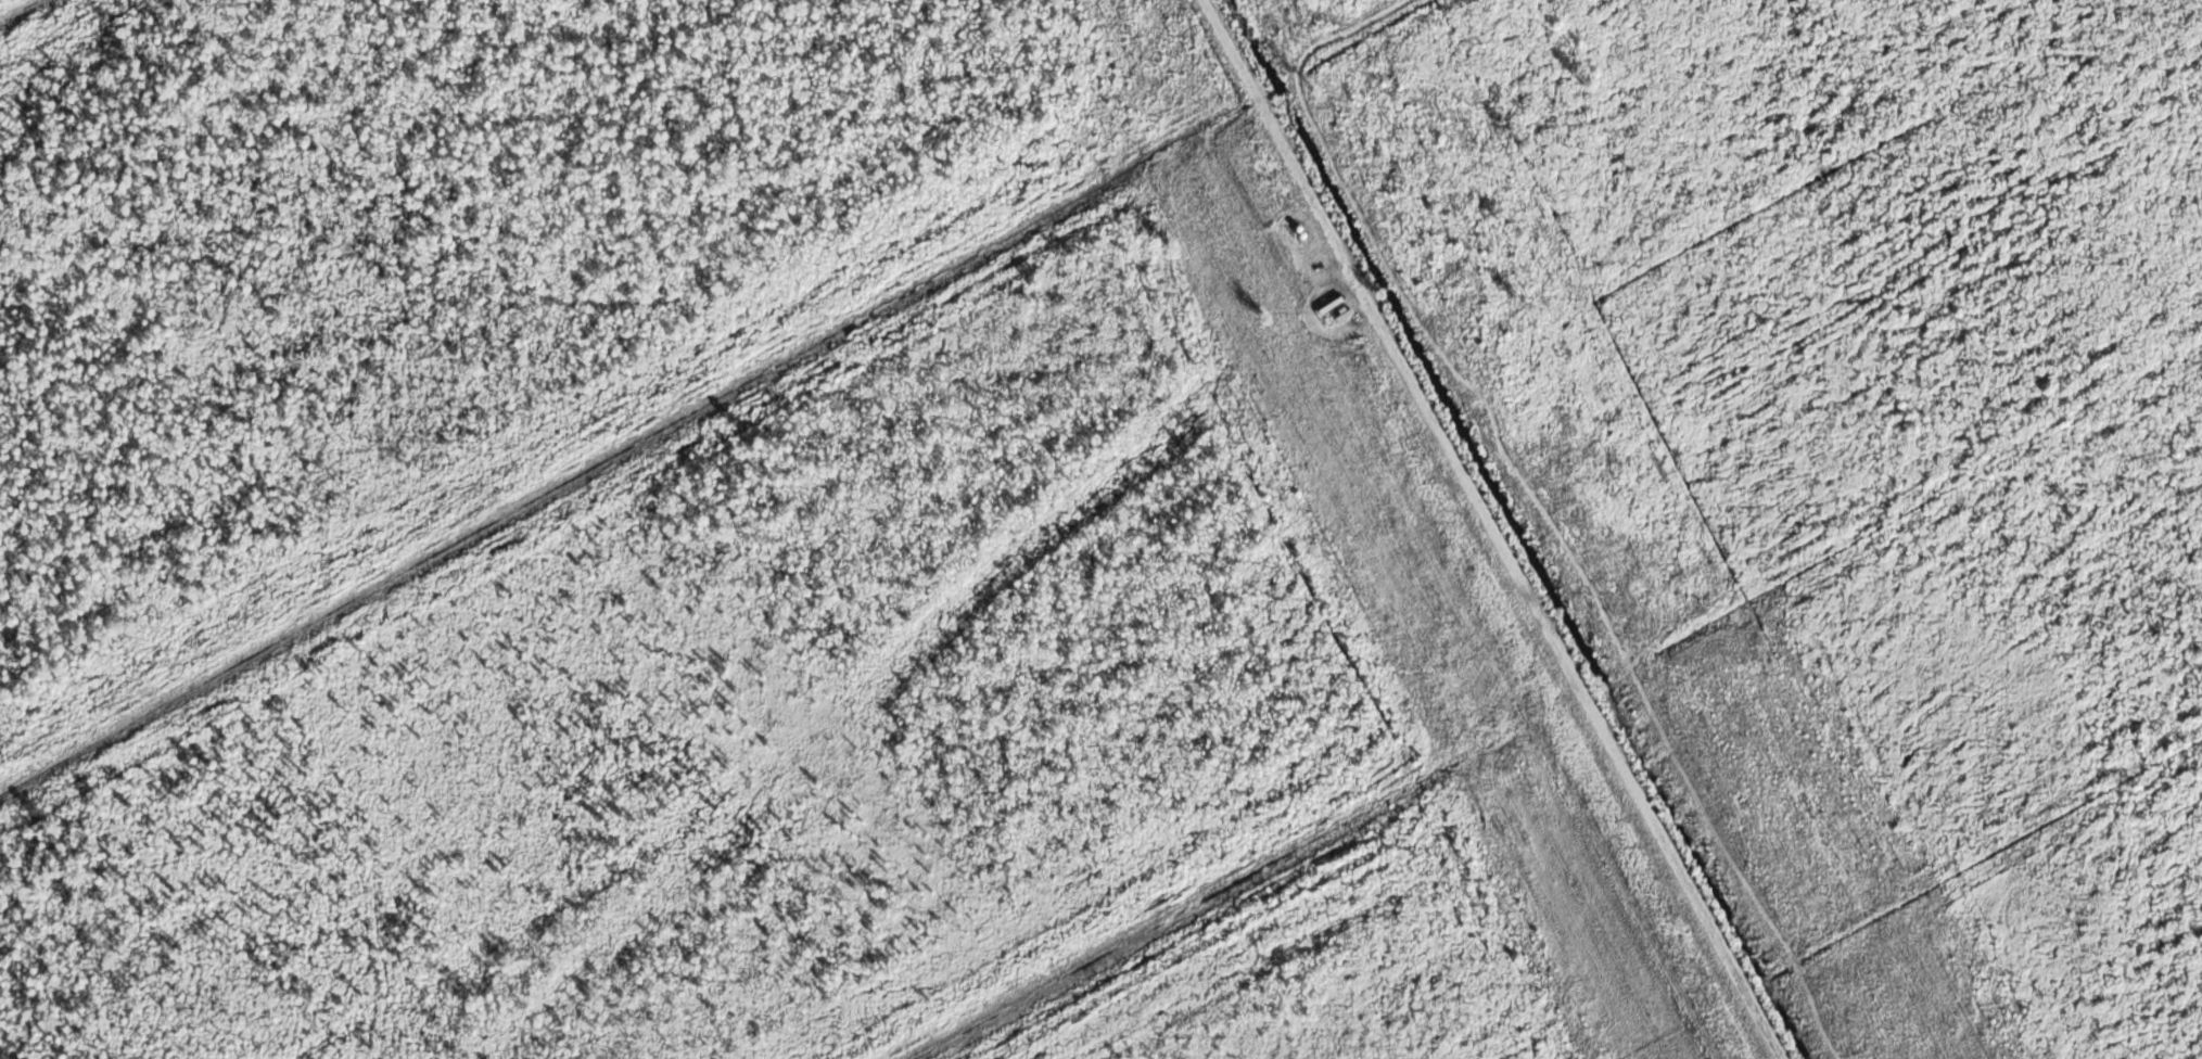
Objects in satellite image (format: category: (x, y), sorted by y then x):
road: (1423, 540)

